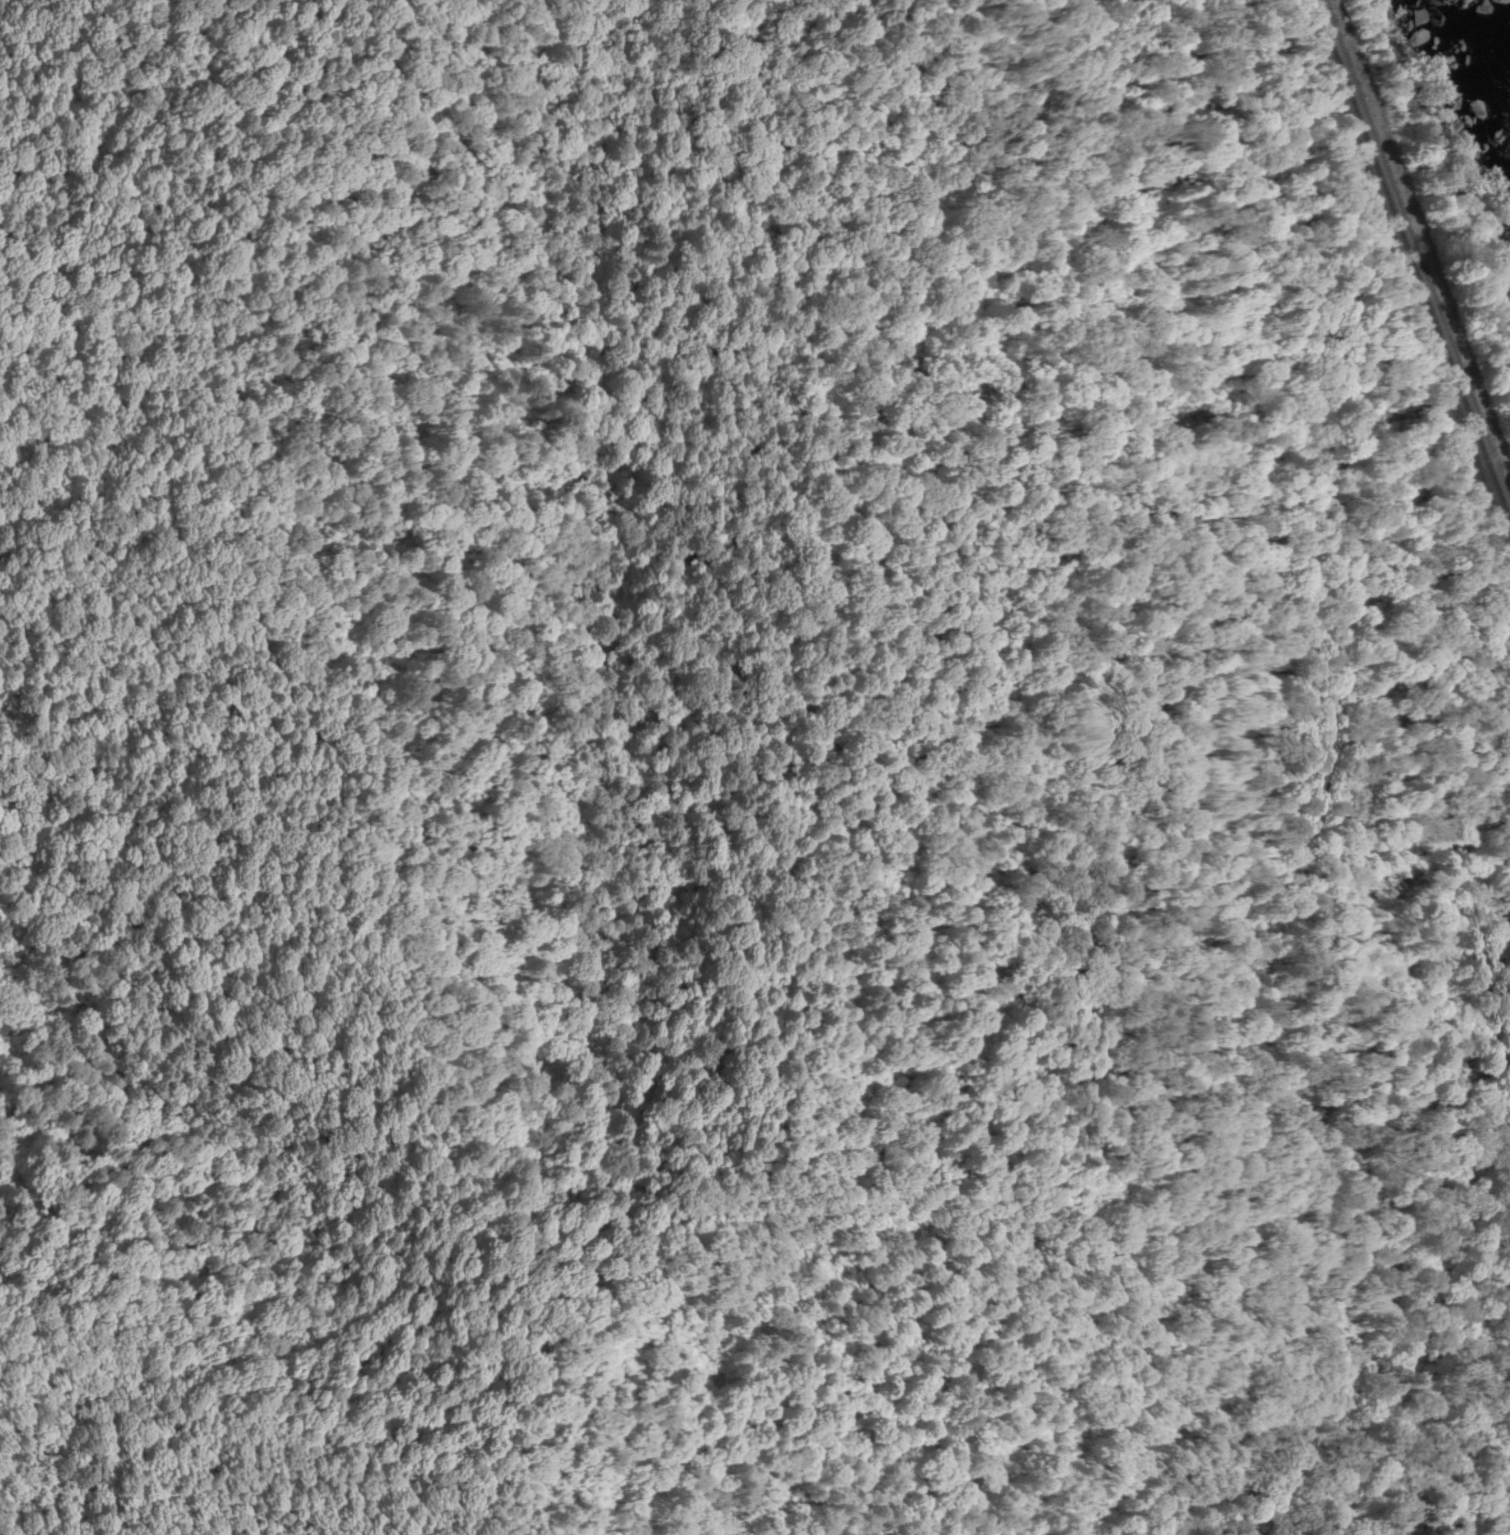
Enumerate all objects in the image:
river: (1478, 93)
railway: (1412, 261)
railway: (1407, 274)
road: (661, 1087)

